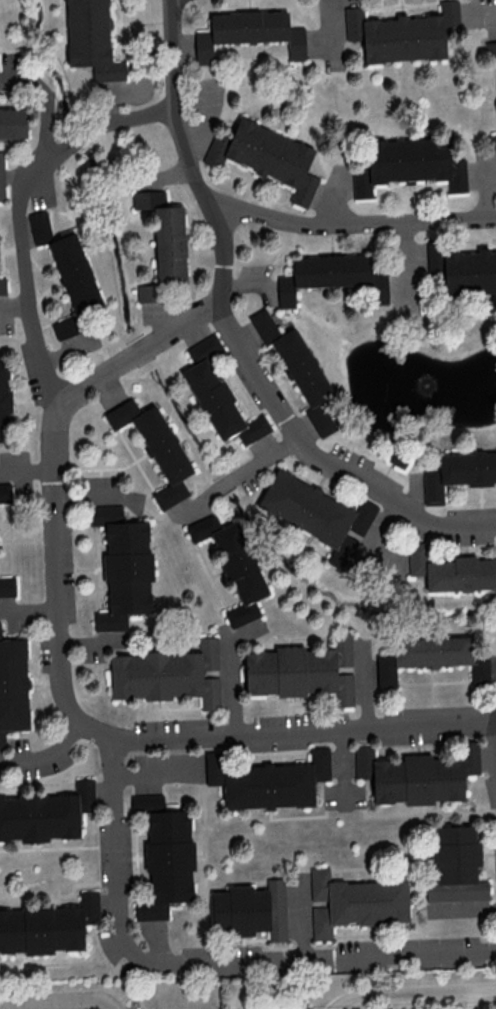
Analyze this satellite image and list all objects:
road: (487, 13)
road: (326, 26)
building: (249, 32)
building: (402, 33)
building: (91, 38)
building: (490, 49)
road: (48, 101)
building: (13, 122)
building: (492, 142)
building: (266, 157)
building: (408, 165)
building: (2, 177)
road: (487, 192)
road: (331, 197)
road: (20, 209)
road: (349, 224)
building: (163, 243)
building: (434, 259)
building: (470, 272)
building: (68, 274)
building: (335, 276)
building: (2, 286)
building: (299, 370)
building: (218, 395)
building: (4, 399)
building: (155, 447)
road: (322, 461)
road: (27, 472)
building: (459, 473)
road: (237, 474)
building: (5, 492)
building: (318, 514)
road: (56, 522)
building: (233, 565)
building: (123, 566)
building: (451, 570)
building: (7, 586)
building: (430, 657)
building: (302, 670)
building: (167, 674)
building: (13, 686)
road: (493, 716)
road: (492, 744)
road: (46, 757)
building: (417, 775)
building: (268, 781)
building: (146, 801)
building: (45, 814)
building: (167, 862)
building: (455, 864)
building: (355, 902)
building: (251, 910)
building: (47, 926)
road: (199, 961)
road: (416, 993)
road: (57, 1002)
road: (337, 1007)

